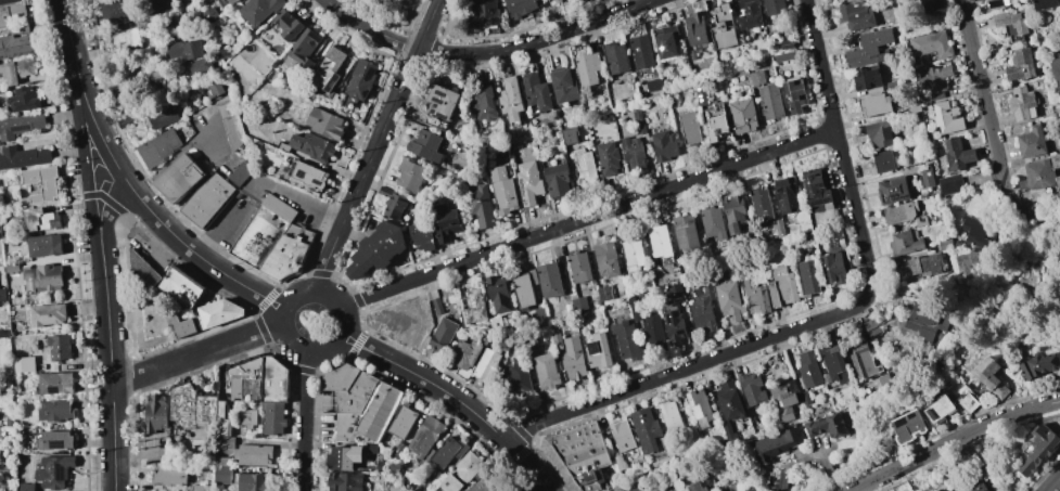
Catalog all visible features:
building: (9, 1)
building: (232, 1)
building: (555, 1)
building: (174, 3)
building: (999, 3)
building: (931, 4)
building: (1044, 4)
building: (520, 7)
building: (774, 7)
building: (132, 10)
building: (259, 10)
building: (11, 13)
building: (209, 14)
building: (483, 14)
building: (750, 14)
building: (856, 15)
building: (288, 25)
building: (1011, 25)
building: (174, 27)
building: (724, 27)
building: (697, 28)
road: (370, 29)
building: (125, 39)
building: (665, 40)
building: (15, 42)
road: (539, 42)
building: (787, 44)
building: (931, 44)
building: (869, 48)
building: (305, 49)
building: (184, 51)
building: (641, 51)
building: (693, 54)
building: (786, 56)
building: (616, 57)
building: (1021, 65)
building: (200, 67)
building: (587, 68)
building: (328, 69)
building: (17, 72)
building: (1053, 75)
building: (757, 77)
building: (933, 77)
building: (867, 78)
building: (360, 79)
road: (79, 83)
building: (564, 85)
building: (654, 86)
building: (215, 89)
road: (979, 90)
building: (115, 92)
building: (536, 92)
building: (701, 94)
building: (795, 95)
building: (936, 95)
building: (671, 99)
building: (25, 100)
building: (442, 100)
building: (511, 100)
building: (770, 102)
building: (483, 103)
building: (1022, 103)
building: (873, 105)
building: (227, 109)
building: (914, 109)
building: (162, 115)
building: (743, 116)
building: (947, 117)
building: (125, 122)
building: (638, 122)
building: (716, 122)
building: (324, 124)
building: (21, 125)
building: (690, 127)
building: (880, 133)
building: (570, 134)
building: (1036, 142)
road: (378, 144)
building: (283, 146)
building: (312, 146)
building: (425, 146)
building: (664, 146)
building: (156, 148)
building: (633, 153)
building: (957, 154)
building: (23, 157)
building: (609, 158)
building: (883, 161)
building: (585, 165)
road: (166, 166)
building: (1043, 172)
building: (241, 173)
building: (310, 175)
building: (410, 175)
building: (929, 176)
building: (180, 178)
building: (557, 180)
building: (529, 182)
building: (47, 184)
building: (950, 184)
building: (818, 189)
building: (893, 190)
building: (502, 191)
building: (787, 194)
road: (303, 199)
building: (207, 201)
building: (761, 204)
building: (396, 206)
building: (481, 206)
building: (733, 212)
building: (899, 214)
road: (588, 217)
building: (40, 219)
building: (921, 221)
building: (446, 222)
building: (712, 222)
road: (218, 228)
building: (779, 230)
building: (264, 231)
building: (686, 232)
building: (422, 237)
building: (980, 237)
building: (804, 238)
road: (179, 240)
building: (660, 241)
building: (905, 243)
building: (945, 244)
building: (44, 246)
building: (0, 247)
building: (378, 249)
building: (633, 253)
building: (921, 253)
building: (288, 254)
building: (606, 259)
building: (968, 263)
building: (921, 266)
building: (579, 267)
building: (12, 268)
building: (834, 268)
building: (142, 272)
road: (321, 275)
building: (808, 276)
building: (42, 279)
road: (295, 280)
building: (550, 280)
road: (343, 284)
building: (182, 286)
building: (782, 286)
building: (525, 287)
building: (898, 289)
building: (674, 290)
road: (327, 293)
building: (498, 293)
building: (605, 293)
building: (0, 294)
building: (754, 295)
building: (447, 297)
road: (276, 298)
building: (14, 300)
road: (359, 300)
building: (631, 300)
building: (730, 301)
building: (579, 303)
building: (438, 306)
building: (475, 306)
road: (271, 308)
building: (704, 309)
road: (284, 310)
building: (635, 311)
building: (1059, 312)
building: (216, 313)
building: (48, 314)
road: (257, 314)
road: (831, 315)
building: (1059, 315)
building: (541, 316)
road: (365, 321)
building: (673, 324)
road: (107, 325)
building: (179, 325)
building: (927, 325)
building: (870, 327)
building: (4, 334)
building: (443, 334)
building: (654, 335)
road: (341, 336)
road: (361, 339)
building: (557, 339)
building: (627, 339)
road: (358, 346)
road: (356, 348)
building: (59, 349)
road: (299, 349)
building: (599, 351)
road: (197, 354)
building: (465, 354)
road: (283, 358)
building: (574, 358)
building: (864, 359)
building: (833, 361)
building: (25, 364)
building: (487, 364)
building: (1039, 365)
road: (337, 367)
building: (546, 370)
building: (808, 370)
road: (309, 372)
building: (519, 376)
building: (991, 376)
building: (245, 378)
building: (965, 379)
building: (274, 380)
building: (884, 382)
building: (55, 383)
building: (349, 387)
building: (753, 389)
road: (447, 393)
building: (805, 398)
building: (783, 399)
building: (729, 400)
building: (967, 400)
building: (940, 406)
building: (199, 408)
building: (700, 408)
building: (55, 411)
building: (155, 413)
building: (669, 415)
building: (369, 416)
building: (247, 417)
building: (273, 418)
building: (10, 421)
building: (403, 421)
road: (307, 422)
building: (826, 425)
building: (909, 425)
building: (646, 429)
building: (727, 430)
building: (622, 434)
building: (691, 434)
building: (425, 437)
building: (51, 440)
road: (952, 440)
building: (664, 443)
building: (772, 445)
building: (370, 448)
building: (1037, 448)
building: (397, 452)
building: (449, 452)
building: (253, 454)
building: (578, 455)
road: (803, 456)
building: (343, 457)
building: (621, 463)
building: (380, 465)
road: (529, 466)
building: (54, 470)
road: (829, 470)
building: (462, 471)
building: (169, 475)
building: (221, 475)
building: (345, 481)
building: (780, 481)
road: (783, 481)
building: (251, 482)
road: (1055, 482)
building: (488, 483)
building: (677, 486)
building: (980, 486)
building: (27, 487)
building: (695, 487)
building: (732, 487)
road: (838, 487)
building: (200, 488)
building: (394, 488)
building: (634, 489)
building: (750, 489)
building: (708, 490)

